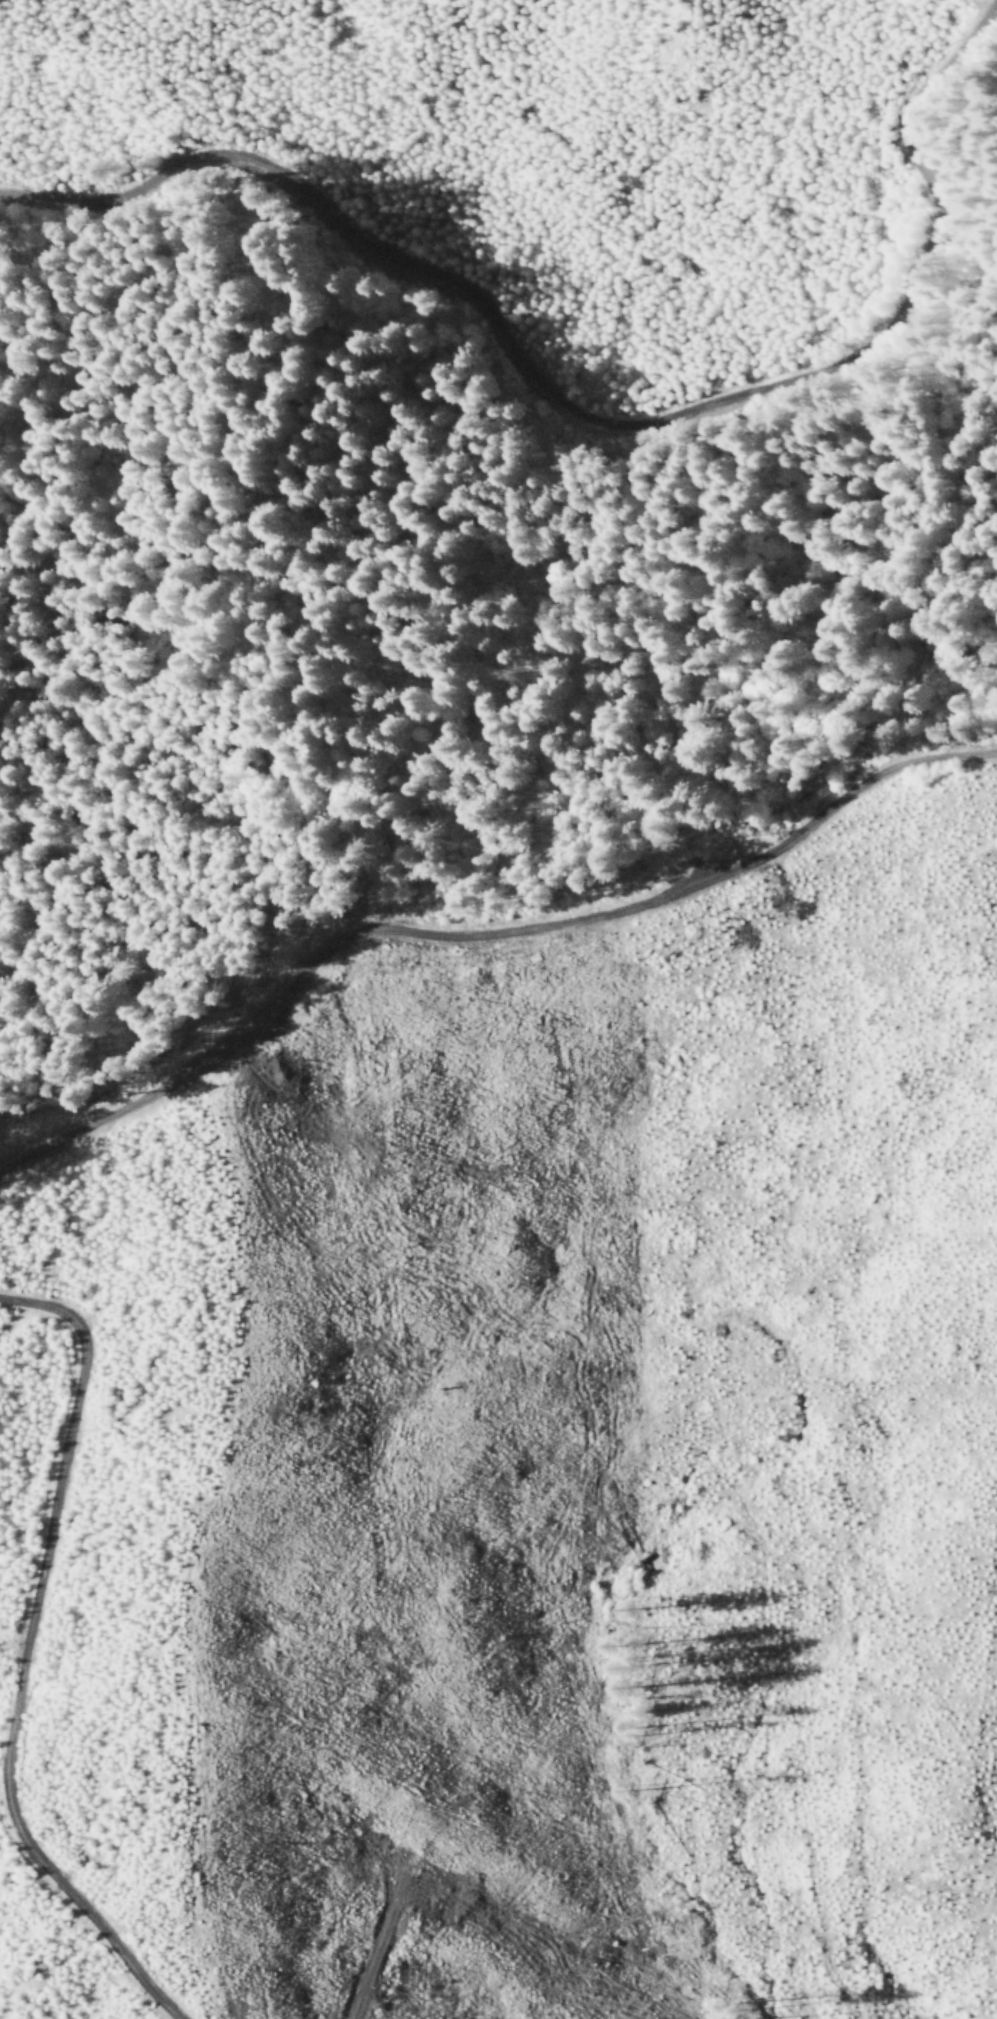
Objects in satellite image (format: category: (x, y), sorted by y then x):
road: (515, 346)
road: (478, 928)
road: (16, 1311)
road: (23, 1657)

